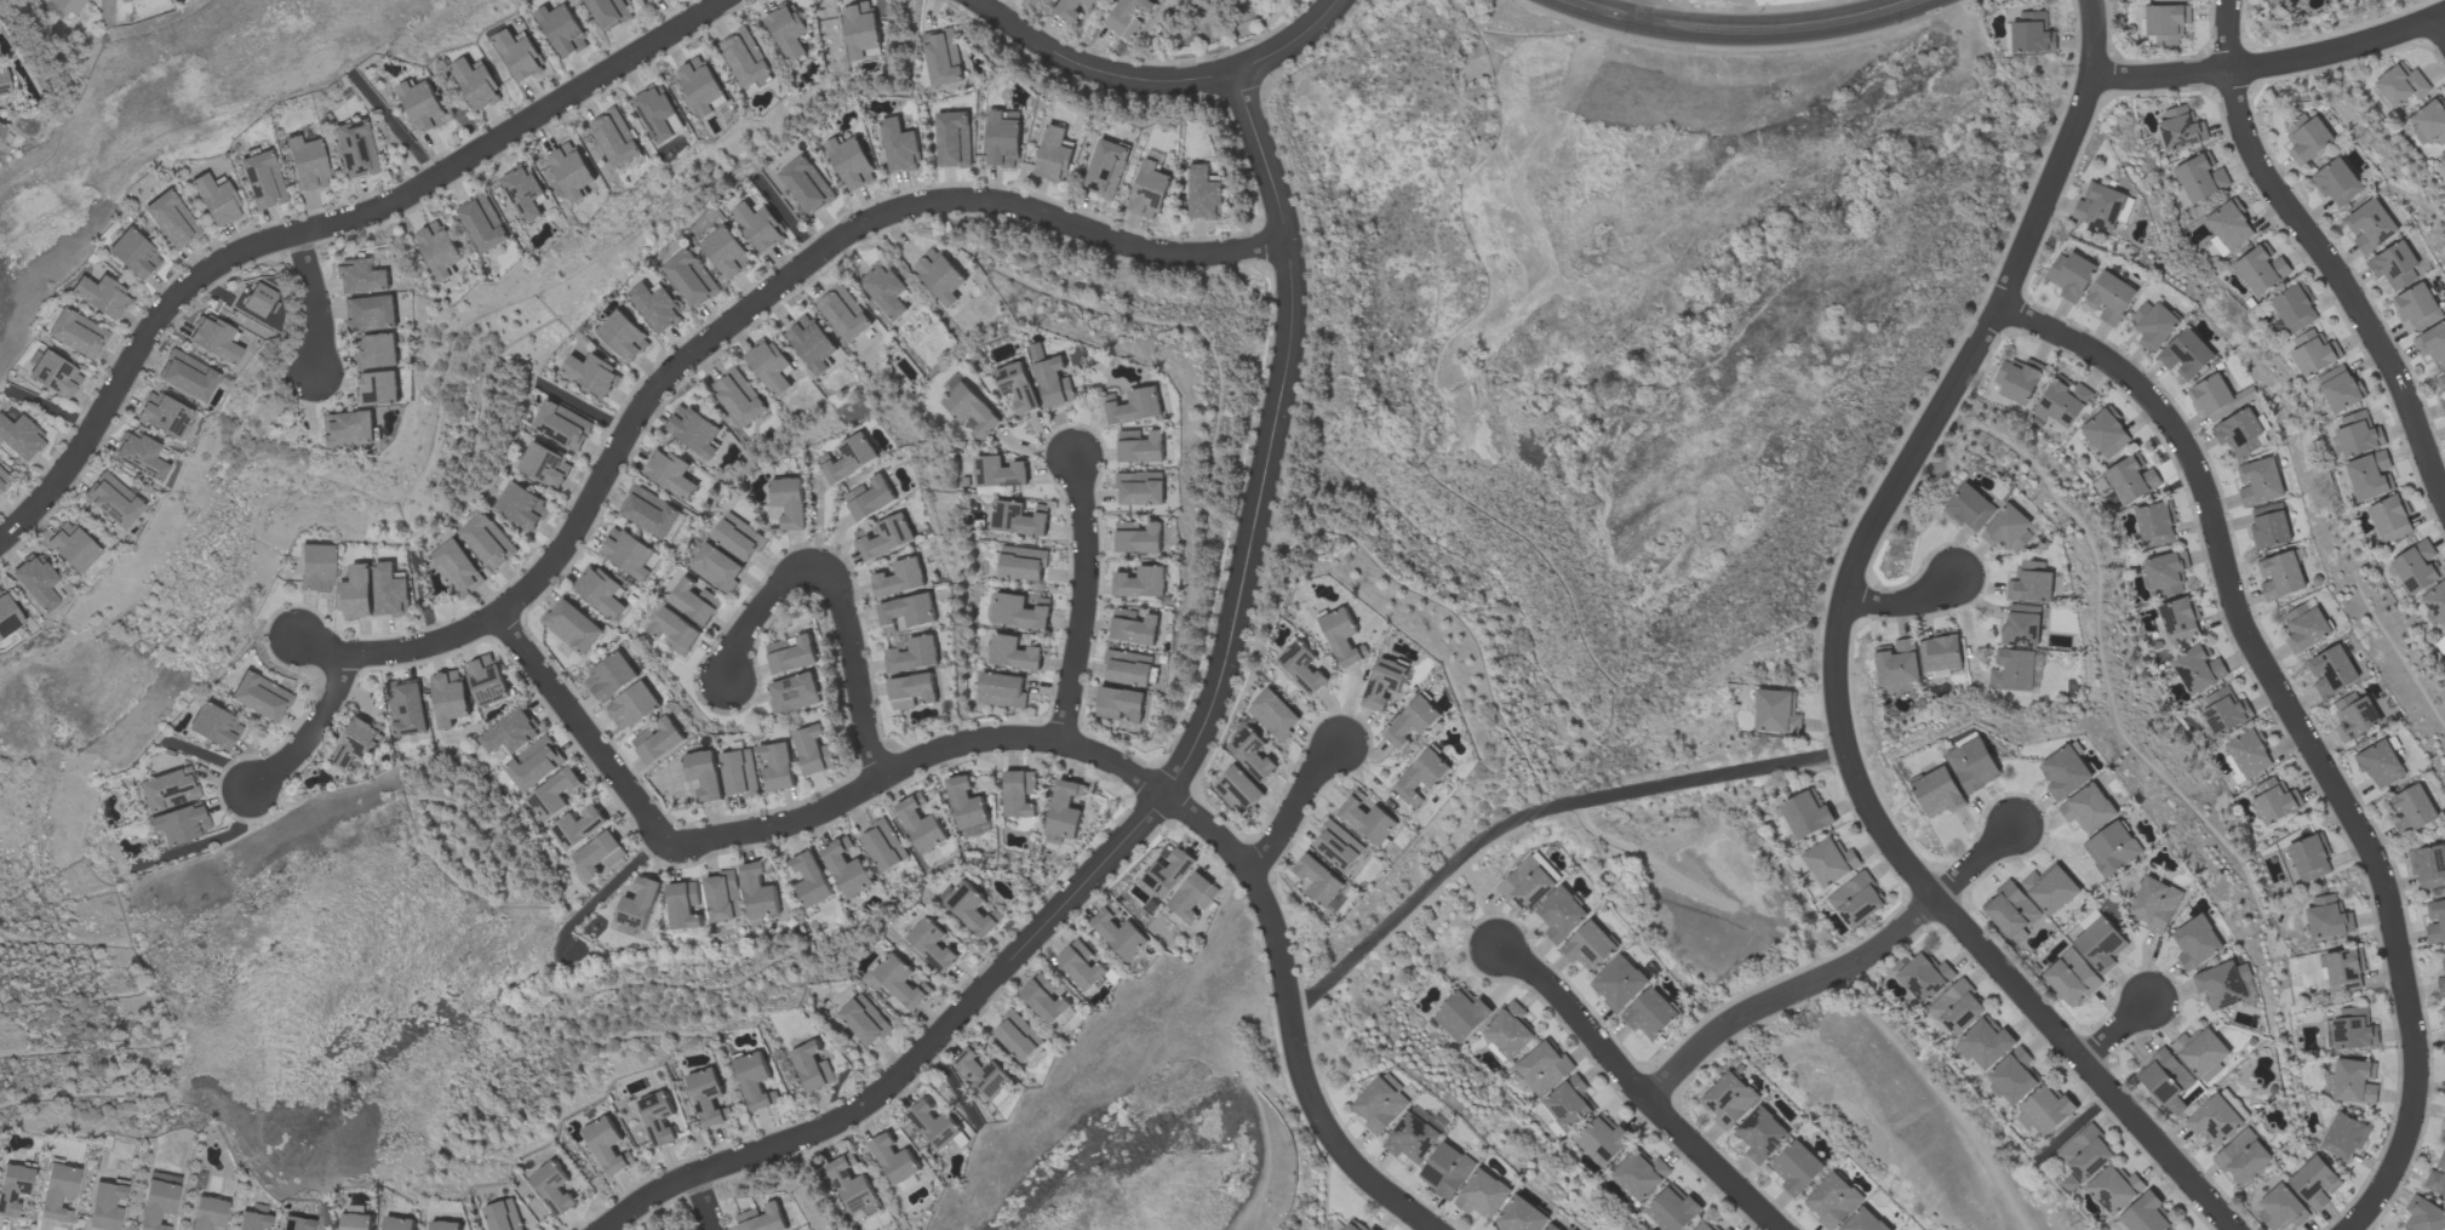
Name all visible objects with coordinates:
building: (121, 0)
building: (645, 0)
building: (2169, 0)
building: (1040, 1)
building: (2286, 4)
building: (67, 6)
building: (1075, 7)
road: (1644, 8)
building: (608, 12)
building: (1129, 17)
road: (2443, 19)
building: (2165, 23)
building: (562, 29)
building: (860, 29)
building: (789, 30)
road: (1752, 30)
building: (2032, 34)
building: (520, 56)
building: (745, 57)
building: (941, 57)
road: (2273, 63)
road: (1162, 80)
building: (476, 82)
building: (4, 84)
building: (703, 86)
building: (2399, 86)
building: (423, 105)
building: (657, 111)
building: (2428, 124)
building: (2180, 128)
building: (1, 130)
building: (615, 137)
building: (1002, 138)
building: (954, 139)
building: (2309, 139)
building: (899, 147)
building: (354, 149)
building: (1054, 155)
building: (2443, 160)
building: (851, 162)
building: (305, 164)
building: (1106, 168)
building: (572, 171)
building: (2200, 178)
building: (262, 181)
building: (2337, 182)
building: (806, 184)
building: (1149, 190)
building: (525, 193)
building: (1203, 194)
building: (214, 200)
building: (2098, 207)
building: (171, 219)
building: (483, 223)
building: (758, 227)
building: (2370, 227)
road: (321, 228)
building: (2228, 228)
road: (2324, 248)
building: (440, 250)
building: (726, 252)
building: (132, 254)
building: (2394, 265)
building: (2260, 270)
building: (940, 275)
building: (361, 276)
building: (2071, 276)
building: (691, 278)
building: (884, 290)
building: (101, 296)
building: (2109, 297)
building: (253, 299)
road: (316, 301)
building: (655, 305)
building: (2417, 307)
building: (2292, 309)
building: (843, 313)
building: (370, 314)
road: (738, 316)
building: (2154, 325)
building: (76, 333)
building: (623, 337)
building: (213, 339)
building: (811, 343)
building: (2433, 343)
building: (374, 351)
building: (2313, 353)
building: (2186, 355)
building: (769, 366)
building: (591, 373)
building: (55, 376)
building: (187, 376)
building: (1052, 378)
building: (2017, 379)
building: (2443, 381)
building: (1017, 388)
building: (376, 389)
building: (2338, 389)
building: (738, 396)
building: (2061, 404)
building: (2441, 404)
building: (1135, 406)
building: (970, 411)
building: (162, 414)
building: (561, 425)
building: (348, 429)
building: (693, 430)
building: (2239, 433)
building: (2105, 434)
building: (2357, 434)
building: (19, 437)
building: (1141, 446)
building: (139, 456)
building: (851, 458)
building: (544, 465)
building: (997, 471)
building: (670, 473)
building: (2367, 475)
building: (2131, 479)
building: (4, 480)
building: (2260, 481)
building: (1140, 488)
building: (870, 497)
building: (111, 500)
building: (789, 502)
building: (521, 505)
building: (1969, 508)
building: (652, 513)
building: (1018, 517)
building: (2389, 519)
building: (2154, 525)
building: (2269, 526)
building: (2008, 528)
building: (738, 537)
building: (886, 537)
building: (1139, 537)
building: (487, 540)
building: (71, 547)
building: (629, 554)
building: (1021, 563)
building: (716, 567)
building: (315, 568)
building: (457, 568)
building: (2416, 568)
building: (2163, 573)
building: (2281, 576)
building: (900, 578)
building: (36, 580)
building: (1143, 582)
building: (2031, 583)
building: (389, 591)
building: (356, 593)
building: (600, 593)
road: (1087, 596)
building: (694, 600)
building: (2435, 603)
road: (1906, 606)
building: (907, 612)
building: (1019, 612)
building: (7, 614)
road: (761, 617)
building: (2177, 620)
building: (572, 625)
building: (2021, 625)
building: (1134, 627)
building: (2307, 630)
building: (674, 631)
building: (1344, 637)
building: (2444, 639)
building: (1940, 652)
building: (791, 653)
building: (1013, 653)
building: (914, 654)
road: (1837, 657)
building: (1896, 663)
road: (857, 668)
building: (1128, 668)
building: (1302, 668)
building: (2198, 669)
building: (2011, 670)
building: (2332, 671)
building: (611, 677)
building: (486, 680)
building: (1386, 682)
building: (911, 690)
building: (1001, 690)
building: (794, 693)
building: (260, 697)
building: (448, 697)
building: (1120, 703)
building: (632, 705)
building: (407, 706)
building: (2222, 710)
building: (1775, 713)
building: (1273, 715)
building: (2355, 716)
building: (1414, 722)
building: (213, 726)
road: (2303, 728)
building: (510, 732)
road: (590, 732)
road: (311, 733)
building: (658, 739)
building: (357, 743)
building: (814, 749)
building: (1252, 754)
building: (2248, 754)
building: (533, 763)
building: (2380, 763)
building: (1972, 765)
building: (777, 766)
building: (739, 773)
building: (2065, 773)
building: (704, 774)
building: (1425, 778)
road: (1179, 785)
building: (1237, 789)
building: (167, 790)
building: (1937, 791)
building: (554, 793)
building: (1019, 794)
road: (1170, 799)
building: (2274, 802)
building: (966, 803)
road: (1294, 805)
building: (2088, 808)
building: (2412, 809)
building: (1064, 811)
road: (1536, 812)
building: (1805, 814)
building: (1369, 818)
building: (179, 824)
building: (920, 824)
building: (576, 828)
building: (883, 846)
building: (2112, 848)
building: (1340, 849)
building: (599, 854)
building: (2309, 859)
building: (1830, 862)
building: (2428, 866)
building: (846, 868)
building: (1168, 870)
building: (1319, 880)
building: (1528, 882)
building: (2050, 888)
building: (758, 889)
building: (1192, 896)
building: (722, 897)
building: (1856, 900)
building: (637, 904)
building: (2154, 904)
building: (682, 905)
building: (970, 909)
building: (2010, 911)
building: (1561, 915)
building: (2326, 917)
building: (2435, 922)
building: (1120, 933)
building: (2195, 942)
building: (2098, 943)
building: (932, 944)
building: (1590, 946)
building: (1082, 966)
building: (2343, 971)
road: (1836, 972)
building: (1924, 977)
building: (2071, 978)
building: (2441, 979)
building: (897, 982)
building: (1619, 983)
building: (2220, 986)
building: (1044, 999)
building: (1957, 1007)
building: (1651, 1014)
building: (1460, 1016)
building: (865, 1020)
road: (2120, 1029)
building: (2354, 1029)
building: (1508, 1031)
building: (1018, 1036)
building: (2444, 1037)
building: (1986, 1042)
building: (2201, 1052)
building: (812, 1066)
building: (1542, 1068)
building: (983, 1071)
building: (2014, 1076)
building: (2164, 1077)
building: (755, 1081)
building: (2355, 1082)
road: (1638, 1088)
building: (708, 1098)
building: (1728, 1099)
building: (1380, 1103)
building: (1568, 1103)
building: (2044, 1110)
building: (657, 1117)
building: (2444, 1117)
building: (2216, 1120)
building: (937, 1126)
building: (1760, 1134)
building: (2342, 1135)
building: (1412, 1138)
building: (1602, 1140)
building: (607, 1145)
building: (2084, 1152)
building: (2243, 1157)
building: (894, 1160)
building: (1797, 1168)
building: (1447, 1171)
building: (1639, 1175)
building: (2437, 1178)
building: (2314, 1183)
building: (852, 1186)
building: (12, 1188)
building: (554, 1188)
building: (2114, 1190)
building: (57, 1191)
building: (1484, 1195)
building: (158, 1200)
road: (710, 1201)
building: (1832, 1201)
building: (105, 1206)
building: (2278, 1208)
building: (1672, 1209)
building: (207, 1213)
building: (2145, 1214)
building: (2423, 1214)
building: (504, 1215)
building: (1523, 1215)
building: (763, 1218)
building: (254, 1219)
building: (356, 1222)
building: (1863, 1222)
building: (399, 1223)
building: (296, 1224)
building: (446, 1225)
building: (1355, 1225)
building: (1553, 1226)
building: (1704, 1226)
building: (1727, 1229)

